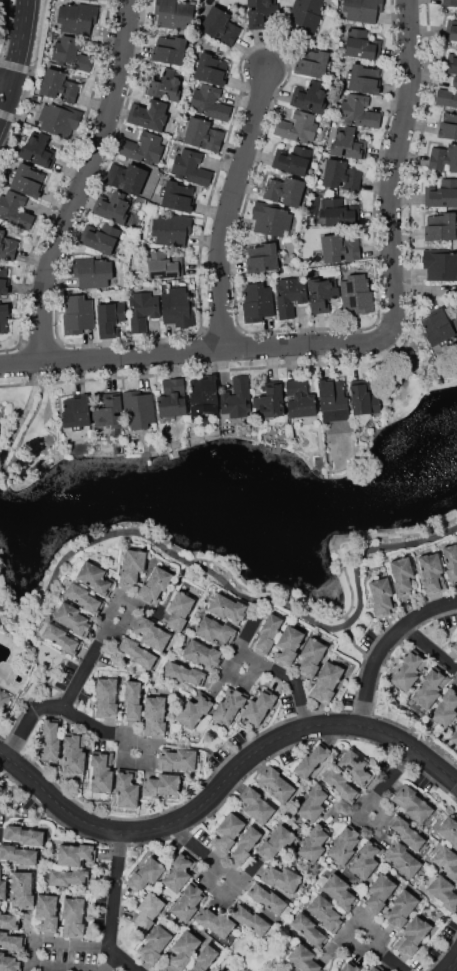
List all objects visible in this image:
building: (450, 3)
building: (362, 10)
building: (174, 13)
building: (261, 13)
park: (2, 14)
building: (306, 14)
building: (78, 17)
building: (220, 26)
building: (451, 29)
building: (361, 45)
building: (170, 50)
building: (71, 54)
building: (312, 63)
road: (19, 65)
building: (453, 65)
building: (211, 69)
building: (365, 78)
building: (166, 85)
building: (59, 86)
road: (6, 89)
building: (447, 95)
building: (311, 96)
building: (209, 103)
building: (359, 111)
building: (148, 114)
building: (58, 120)
building: (448, 125)
building: (298, 127)
building: (202, 135)
building: (348, 144)
building: (144, 148)
building: (38, 150)
building: (444, 157)
building: (292, 159)
building: (191, 167)
building: (341, 175)
building: (127, 177)
building: (28, 180)
road: (84, 182)
building: (287, 190)
building: (441, 193)
building: (178, 196)
building: (114, 207)
building: (15, 209)
road: (231, 210)
building: (339, 212)
building: (271, 219)
building: (441, 227)
building: (172, 229)
building: (100, 237)
building: (7, 246)
building: (339, 248)
building: (263, 257)
building: (440, 264)
building: (164, 265)
building: (92, 272)
building: (4, 280)
building: (321, 293)
building: (356, 293)
building: (290, 295)
building: (258, 301)
building: (456, 304)
building: (177, 307)
building: (142, 310)
building: (77, 314)
building: (110, 318)
building: (453, 318)
building: (4, 319)
building: (437, 327)
road: (364, 342)
road: (408, 373)
building: (204, 395)
building: (332, 395)
building: (172, 398)
building: (237, 398)
building: (363, 398)
building: (299, 399)
building: (269, 402)
building: (138, 410)
building: (76, 412)
building: (109, 412)
road: (23, 416)
building: (0, 425)
building: (451, 562)
building: (132, 567)
building: (432, 573)
building: (402, 576)
building: (97, 578)
building: (155, 585)
road: (237, 591)
building: (382, 597)
building: (84, 599)
building: (228, 609)
building: (179, 611)
building: (74, 619)
building: (215, 630)
building: (152, 634)
building: (268, 634)
building: (62, 638)
road: (387, 645)
building: (287, 646)
road: (431, 647)
road: (357, 648)
building: (454, 648)
building: (138, 652)
building: (203, 654)
building: (310, 658)
building: (408, 671)
building: (184, 673)
road: (290, 677)
building: (326, 682)
road: (74, 684)
building: (430, 688)
building: (106, 697)
building: (3, 699)
building: (134, 699)
building: (229, 706)
building: (258, 706)
building: (446, 708)
building: (194, 710)
building: (156, 715)
road: (101, 728)
road: (391, 733)
building: (51, 738)
building: (454, 738)
building: (74, 753)
building: (312, 759)
building: (178, 760)
building: (357, 767)
building: (102, 772)
building: (275, 783)
road: (388, 783)
building: (162, 785)
building: (341, 785)
building: (127, 787)
building: (313, 802)
building: (256, 804)
building: (412, 804)
road: (158, 828)
building: (448, 830)
building: (227, 832)
building: (406, 832)
building: (24, 835)
building: (314, 842)
building: (275, 843)
building: (246, 844)
building: (345, 844)
road: (209, 853)
building: (18, 854)
building: (76, 855)
building: (367, 859)
building: (402, 859)
building: (447, 861)
building: (179, 871)
building: (146, 874)
building: (68, 878)
building: (281, 878)
building: (2, 888)
building: (22, 890)
building: (338, 890)
building: (444, 892)
building: (379, 893)
building: (270, 900)
building: (189, 901)
building: (401, 909)
building: (148, 911)
building: (46, 912)
building: (326, 913)
building: (73, 917)
building: (251, 919)
building: (8, 921)
building: (215, 921)
road: (114, 925)
building: (310, 929)
building: (412, 936)
building: (12, 942)
building: (154, 944)
building: (183, 950)
road: (386, 953)
road: (93, 958)
building: (205, 958)
building: (304, 958)
road: (126, 959)
building: (9, 963)
building: (350, 966)
road: (452, 966)
building: (377, 968)
building: (338, 970)

